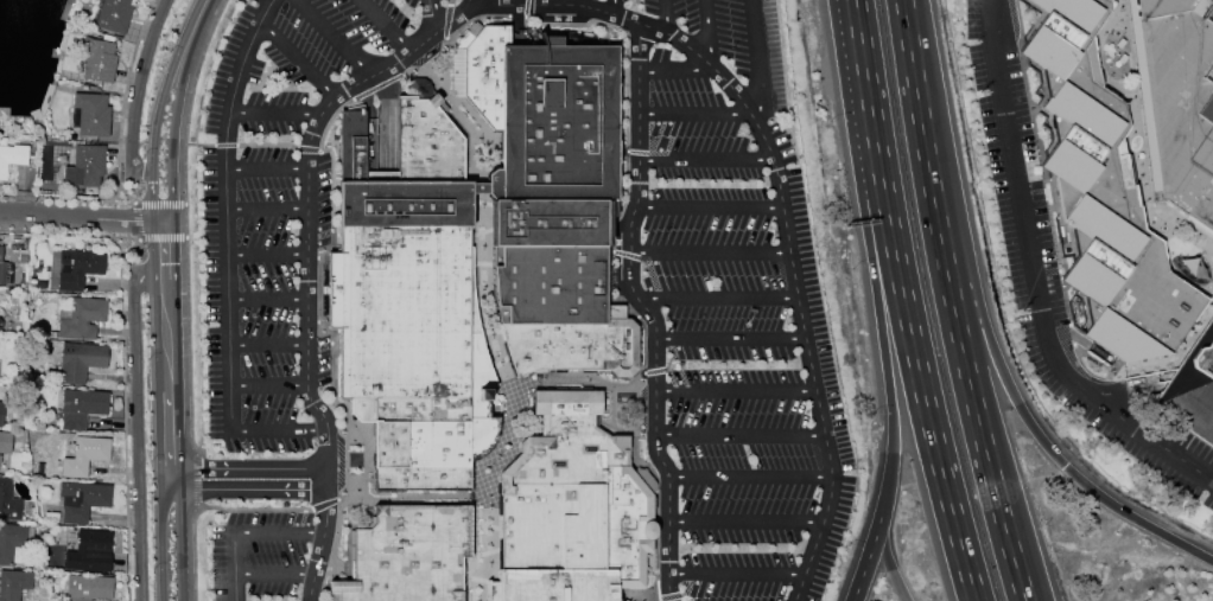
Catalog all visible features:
road: (487, 2)
road: (521, 2)
road: (566, 2)
road: (449, 4)
road: (472, 4)
road: (525, 7)
road: (614, 7)
road: (432, 14)
building: (109, 15)
road: (516, 17)
road: (665, 17)
road: (474, 18)
road: (446, 21)
road: (636, 21)
road: (387, 25)
road: (569, 25)
road: (516, 27)
road: (551, 31)
road: (707, 33)
road: (339, 36)
road: (852, 37)
road: (859, 37)
parking lot: (732, 39)
road: (732, 39)
road: (297, 56)
building: (97, 60)
road: (754, 63)
road: (432, 65)
road: (197, 69)
road: (674, 70)
road: (375, 73)
road: (376, 87)
road: (751, 87)
road: (627, 88)
road: (139, 92)
road: (868, 92)
building: (1176, 100)
road: (122, 101)
road: (157, 107)
road: (177, 108)
road: (273, 109)
road: (693, 114)
building: (90, 115)
road: (392, 119)
road: (329, 120)
road: (382, 120)
road: (669, 143)
road: (198, 145)
road: (266, 145)
road: (224, 146)
road: (307, 149)
road: (636, 152)
building: (12, 156)
road: (704, 160)
road: (265, 165)
building: (84, 166)
building: (408, 167)
road: (184, 173)
road: (331, 184)
building: (1103, 194)
parking lot: (269, 198)
building: (553, 198)
road: (62, 199)
road: (120, 204)
road: (158, 204)
road: (224, 204)
road: (265, 205)
road: (306, 206)
road: (709, 207)
road: (81, 218)
road: (185, 220)
road: (135, 222)
parking lot: (1027, 228)
road: (69, 234)
road: (161, 238)
road: (186, 238)
road: (196, 238)
road: (214, 238)
road: (163, 250)
road: (332, 250)
road: (710, 251)
road: (266, 255)
road: (627, 255)
road: (311, 258)
road: (320, 258)
building: (78, 268)
road: (611, 268)
building: (1, 269)
road: (1035, 276)
road: (652, 277)
road: (266, 295)
road: (306, 298)
road: (717, 299)
road: (876, 301)
road: (951, 302)
building: (401, 311)
road: (647, 312)
building: (81, 318)
road: (311, 322)
building: (0, 325)
road: (335, 330)
road: (165, 335)
road: (730, 339)
road: (267, 341)
road: (188, 344)
parking lot: (723, 345)
road: (723, 345)
road: (498, 351)
road: (677, 351)
road: (334, 354)
road: (914, 358)
building: (80, 362)
road: (306, 362)
road: (809, 365)
road: (655, 370)
road: (550, 375)
road: (672, 379)
road: (574, 381)
road: (268, 382)
road: (640, 383)
road: (1009, 388)
building: (1190, 389)
road: (735, 391)
building: (81, 408)
building: (1, 410)
road: (123, 416)
road: (274, 427)
building: (433, 427)
road: (135, 428)
road: (167, 434)
road: (738, 436)
building: (5, 442)
road: (300, 452)
building: (84, 455)
road: (244, 468)
road: (749, 477)
road: (197, 478)
road: (243, 490)
road: (323, 490)
building: (82, 499)
building: (8, 501)
road: (370, 503)
road: (323, 504)
road: (207, 507)
road: (350, 509)
building: (572, 509)
road: (300, 519)
road: (745, 523)
road: (350, 530)
road: (160, 537)
road: (179, 537)
road: (335, 538)
building: (11, 543)
road: (233, 543)
road: (871, 546)
road: (882, 548)
road: (483, 550)
building: (89, 551)
building: (407, 555)
parking lot: (259, 556)
road: (474, 557)
road: (349, 568)
road: (481, 568)
road: (656, 570)
road: (736, 571)
road: (351, 574)
road: (326, 575)
road: (477, 581)
building: (13, 583)
road: (317, 583)
road: (687, 584)
road: (234, 586)
road: (329, 586)
road: (336, 586)
building: (87, 587)
road: (658, 590)
road: (668, 597)

